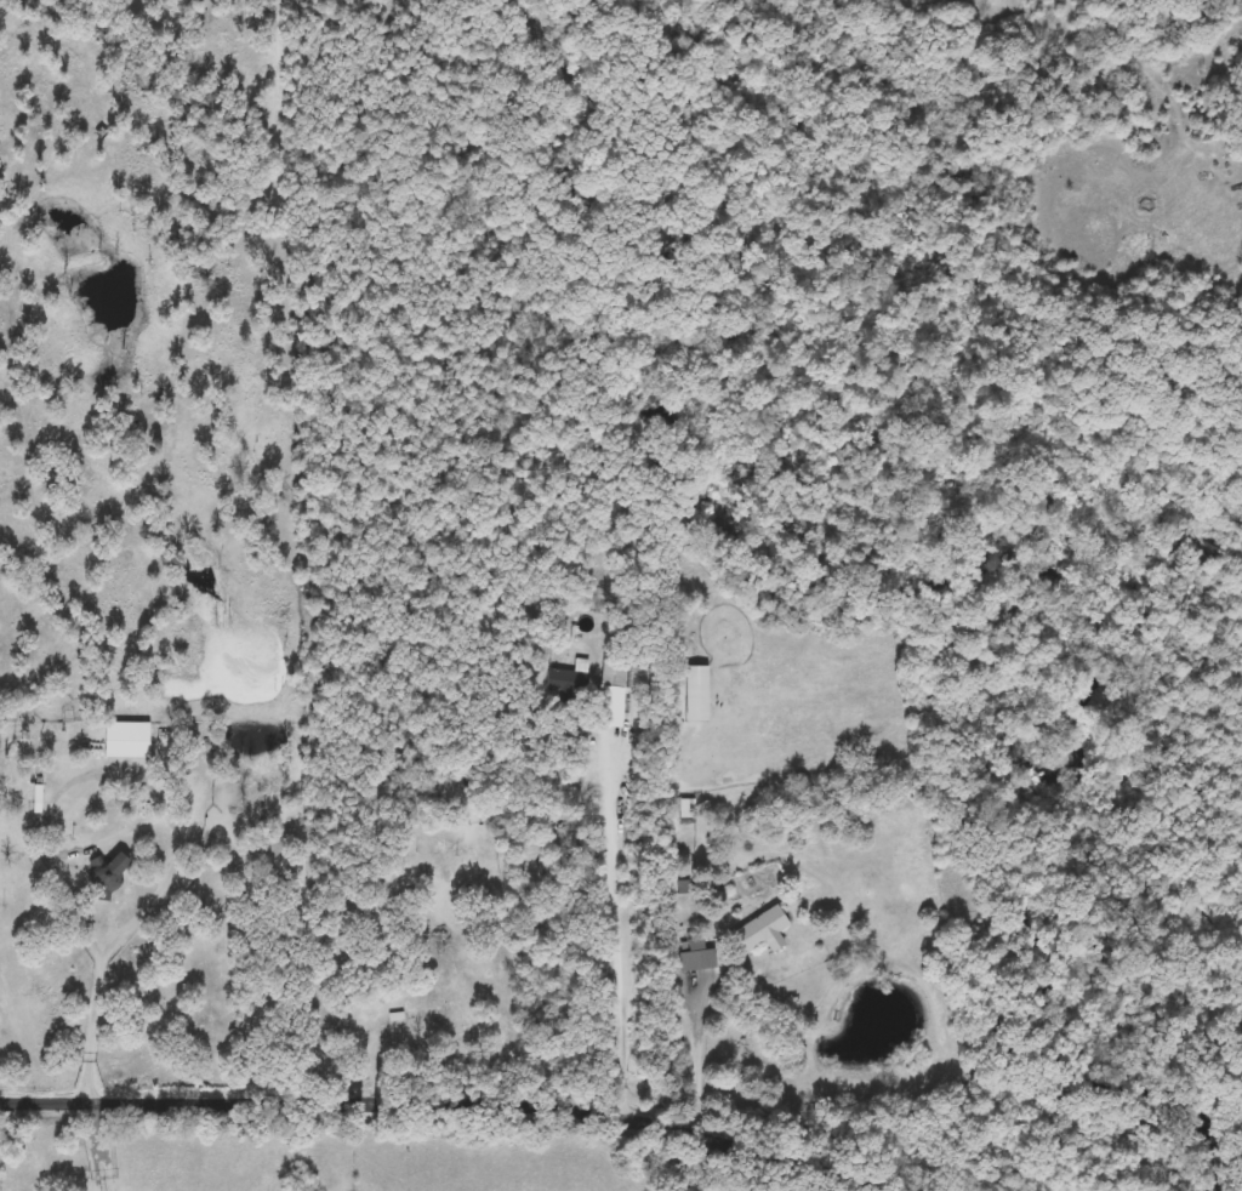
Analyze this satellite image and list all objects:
building: (616, 673)
building: (568, 679)
building: (695, 695)
building: (119, 865)
road: (616, 921)
building: (759, 929)
road: (120, 941)
building: (696, 957)
road: (380, 987)
building: (435, 1026)
road: (697, 1062)
road: (469, 1096)
road: (102, 1145)
road: (49, 1146)

